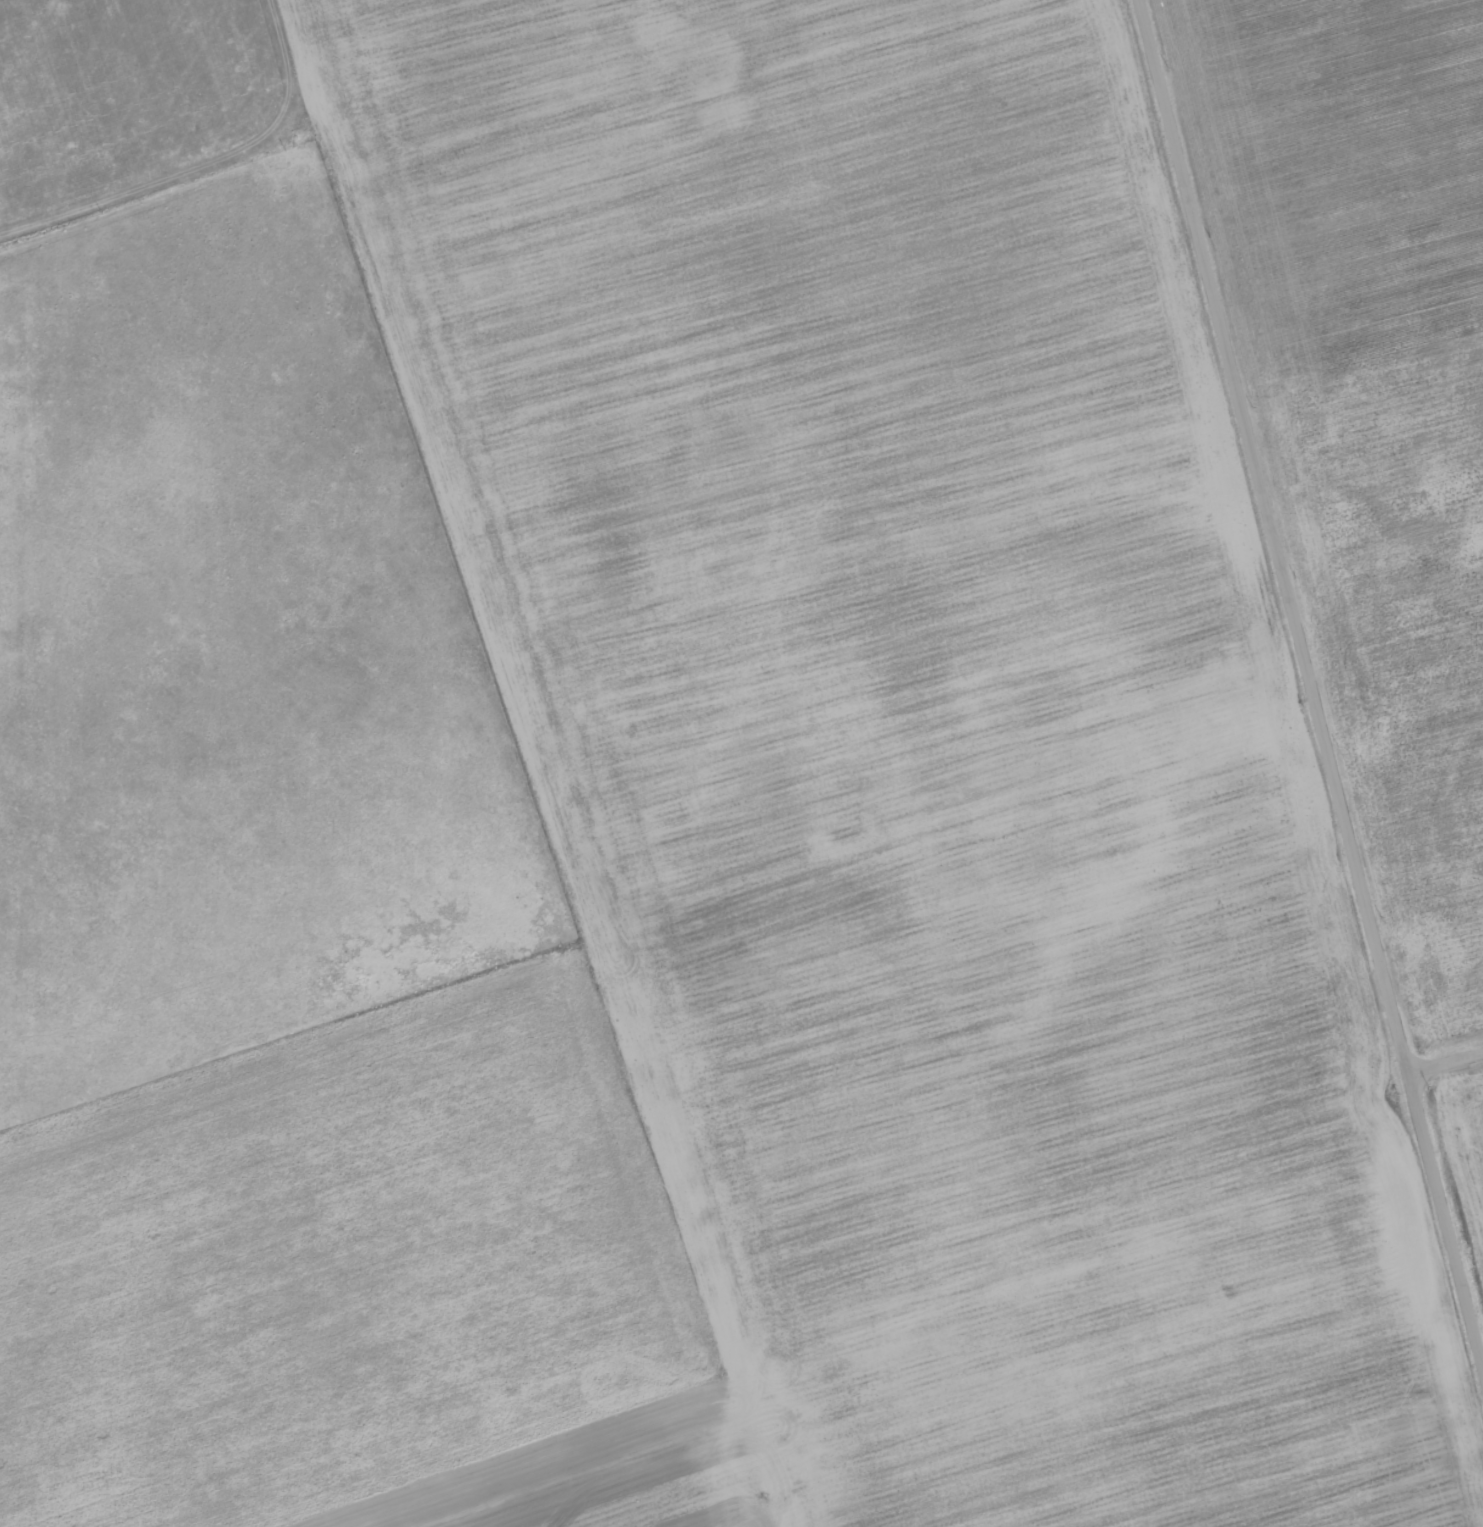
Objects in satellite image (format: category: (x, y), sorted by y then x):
road: (205, 162)
road: (1309, 688)
road: (1445, 1064)

